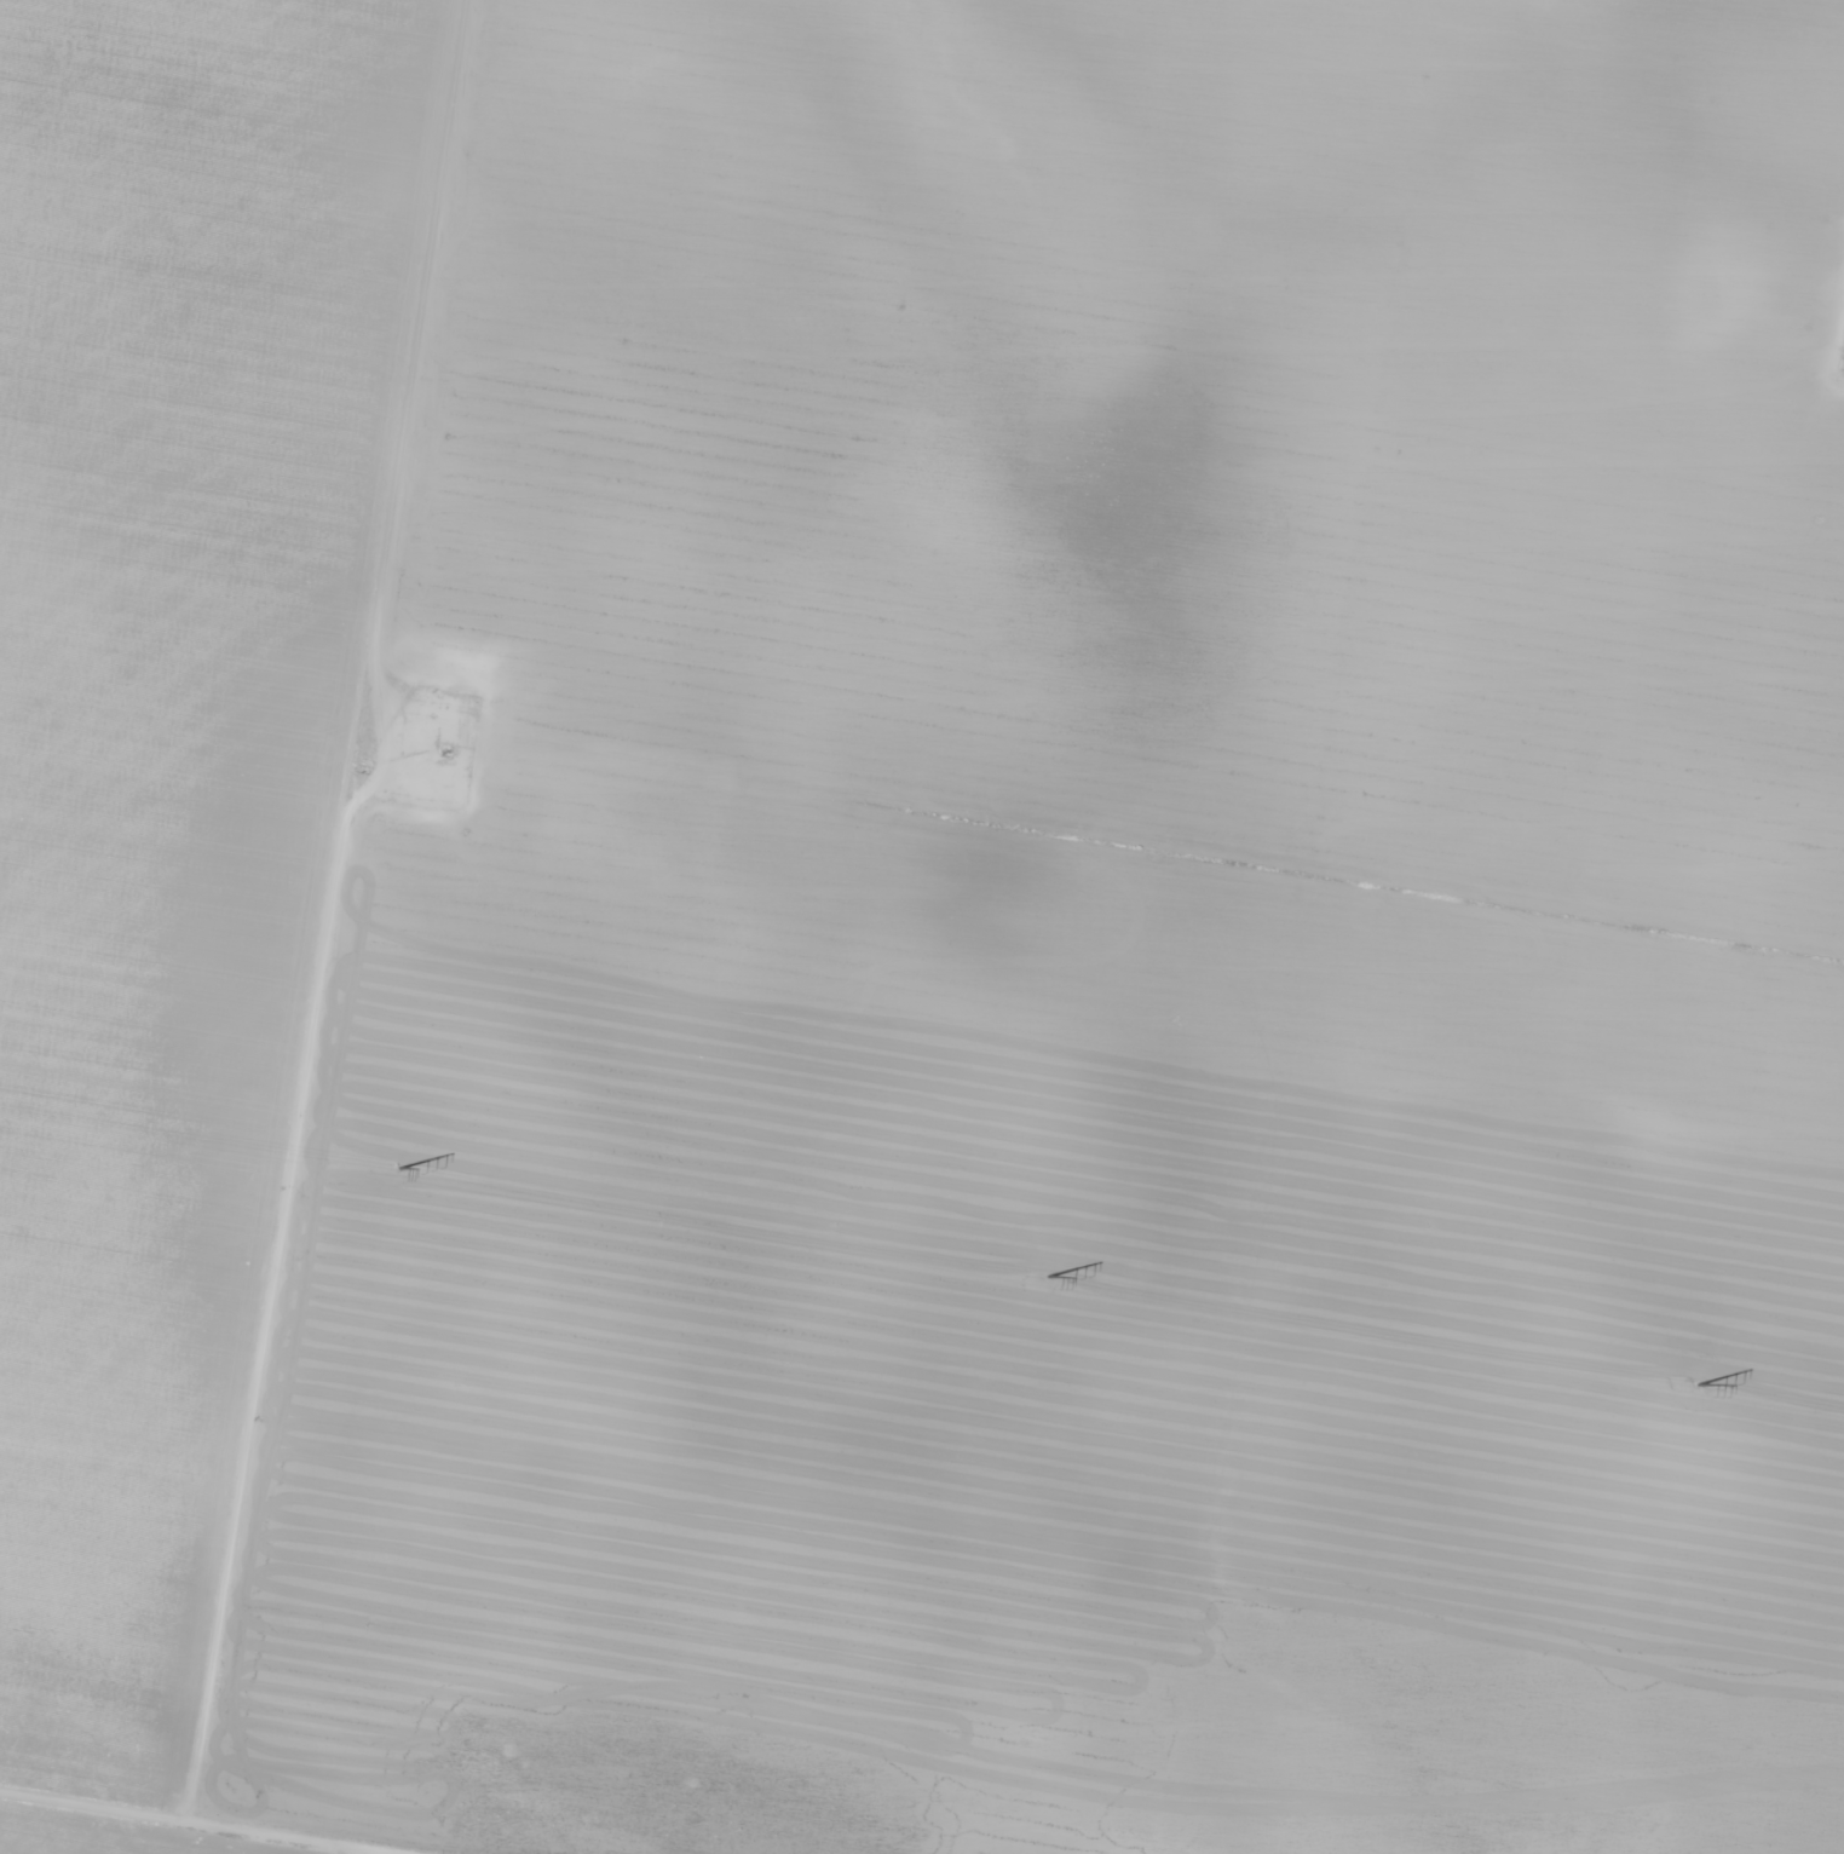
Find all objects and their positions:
power tower: (405, 1173)
power tower: (1047, 1279)
power tower: (1699, 1388)
road: (221, 1819)

